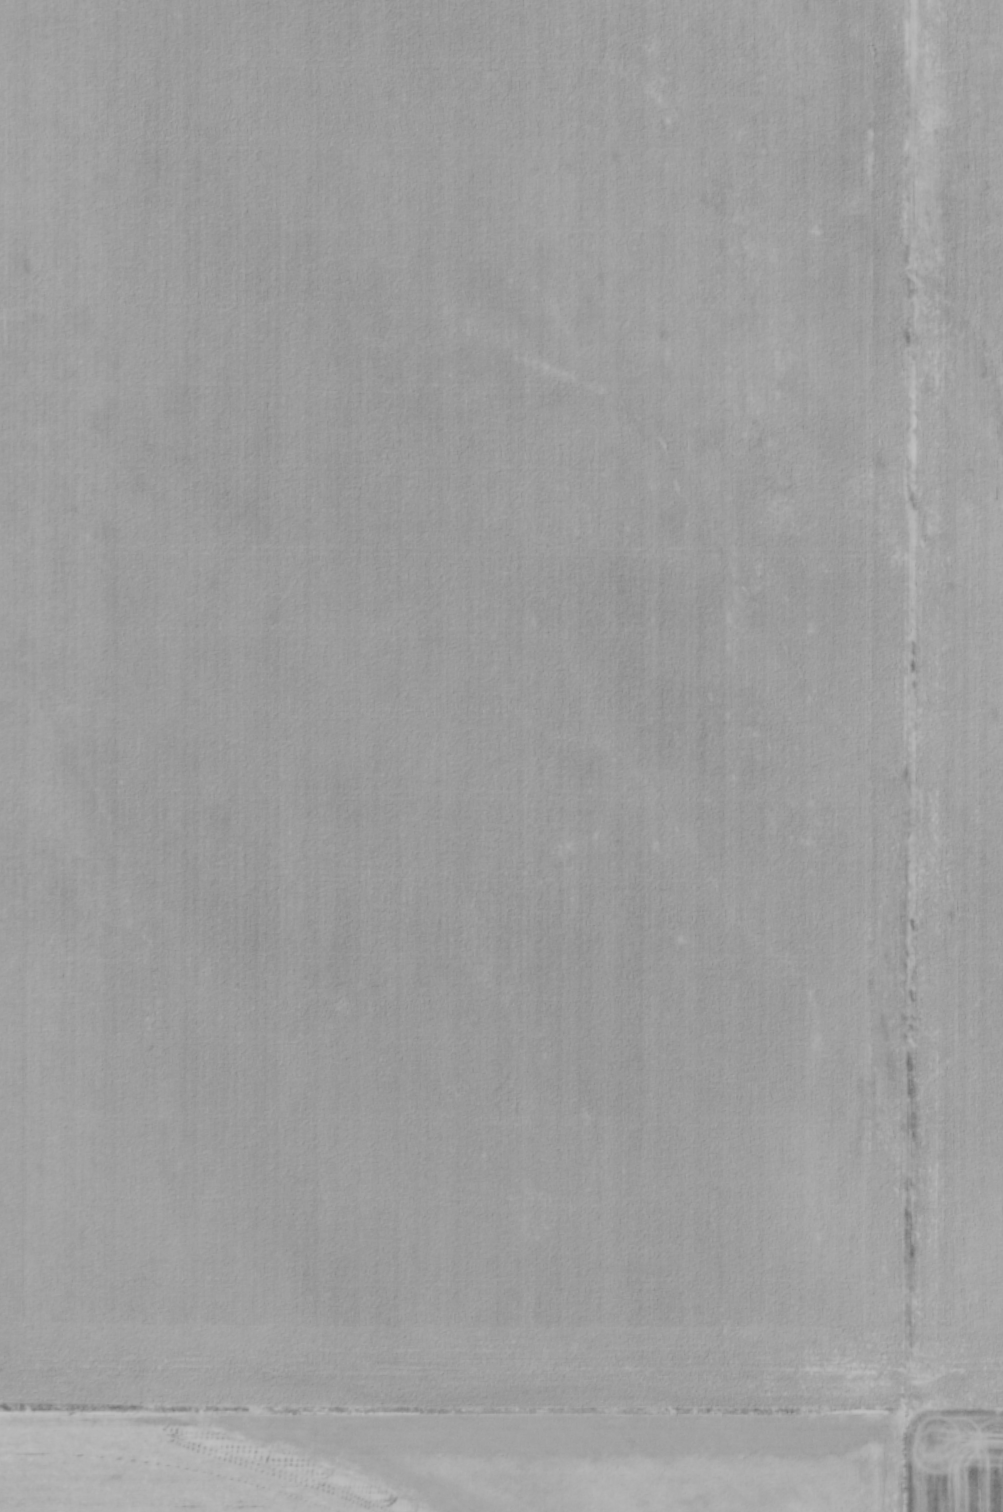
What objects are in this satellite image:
crop: (501, 756)

